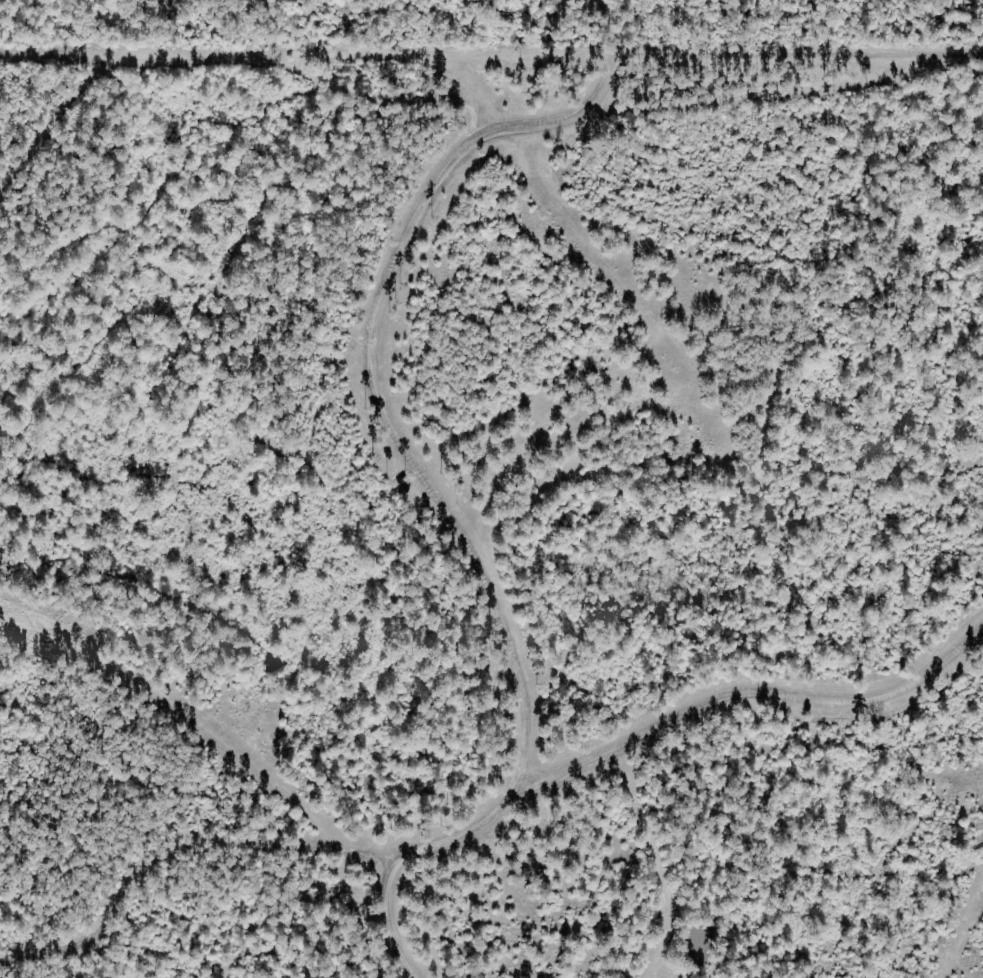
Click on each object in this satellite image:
road: (273, 33)
road: (781, 91)
road: (505, 148)
road: (419, 472)
road: (747, 687)
road: (202, 728)
road: (154, 864)
road: (653, 865)
road: (962, 936)

